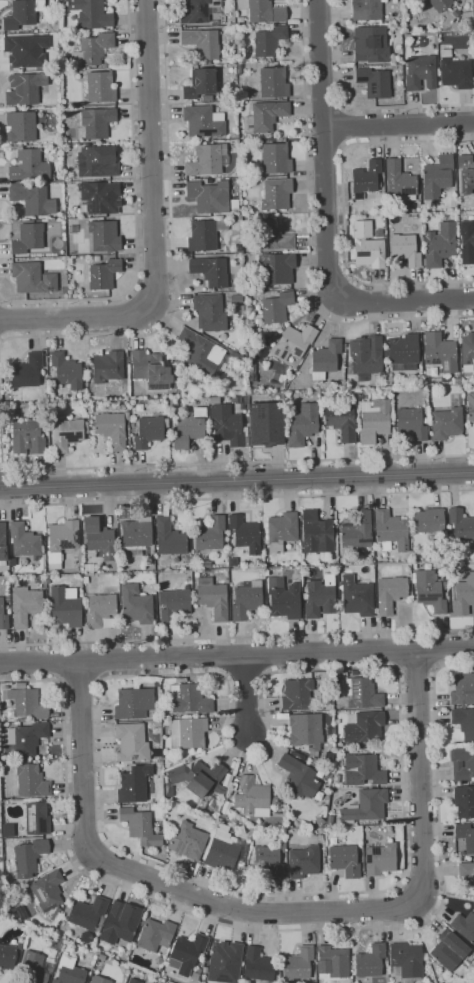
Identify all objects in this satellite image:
building: (441, 4)
building: (473, 6)
building: (196, 10)
building: (263, 10)
building: (367, 10)
building: (23, 13)
building: (91, 13)
building: (456, 13)
building: (240, 20)
building: (269, 40)
building: (203, 42)
building: (371, 44)
building: (92, 49)
building: (27, 50)
building: (455, 71)
building: (421, 73)
building: (200, 82)
building: (274, 82)
building: (374, 82)
building: (101, 86)
building: (25, 88)
building: (207, 98)
building: (234, 105)
road: (324, 108)
road: (355, 108)
building: (268, 114)
building: (97, 121)
building: (204, 121)
road: (398, 124)
building: (21, 126)
road: (344, 127)
road: (324, 149)
road: (325, 154)
road: (151, 157)
building: (276, 158)
building: (206, 160)
building: (97, 162)
building: (29, 166)
building: (466, 174)
building: (437, 177)
building: (366, 178)
building: (400, 181)
building: (276, 194)
building: (210, 196)
building: (99, 198)
building: (33, 199)
building: (419, 202)
building: (423, 208)
road: (344, 209)
road: (135, 212)
building: (205, 234)
building: (105, 235)
road: (309, 235)
building: (272, 236)
building: (28, 237)
building: (467, 242)
building: (367, 245)
building: (440, 245)
building: (405, 248)
road: (171, 250)
building: (276, 268)
building: (211, 271)
building: (104, 274)
building: (33, 278)
building: (63, 288)
building: (237, 299)
road: (406, 301)
building: (277, 307)
building: (241, 308)
building: (211, 313)
road: (70, 319)
road: (0, 320)
road: (1, 341)
building: (294, 342)
building: (403, 349)
building: (201, 350)
building: (440, 352)
building: (468, 352)
building: (235, 356)
building: (366, 356)
building: (325, 359)
building: (108, 367)
building: (152, 369)
building: (66, 370)
building: (28, 371)
building: (252, 377)
building: (457, 380)
building: (214, 399)
building: (471, 405)
building: (467, 410)
building: (127, 417)
building: (410, 419)
building: (342, 421)
building: (375, 421)
building: (265, 423)
building: (447, 423)
building: (303, 424)
building: (229, 426)
building: (86, 427)
building: (189, 428)
building: (112, 429)
building: (150, 431)
building: (67, 434)
building: (27, 437)
road: (191, 462)
road: (2, 468)
road: (236, 480)
road: (5, 487)
road: (237, 499)
building: (428, 520)
building: (462, 526)
building: (390, 530)
building: (282, 531)
building: (245, 533)
building: (210, 534)
building: (317, 534)
building: (356, 535)
building: (136, 536)
building: (99, 537)
building: (169, 537)
building: (24, 540)
building: (61, 541)
building: (46, 543)
building: (3, 545)
building: (89, 567)
building: (123, 568)
building: (298, 570)
building: (445, 578)
building: (37, 580)
building: (86, 580)
building: (44, 581)
building: (445, 585)
building: (430, 591)
building: (391, 593)
building: (464, 595)
building: (358, 596)
building: (213, 597)
building: (321, 597)
building: (448, 597)
building: (8, 598)
building: (284, 598)
building: (247, 600)
building: (174, 603)
building: (136, 604)
building: (25, 605)
building: (65, 608)
building: (99, 608)
building: (3, 616)
road: (237, 637)
road: (237, 655)
building: (471, 668)
road: (417, 669)
road: (80, 681)
building: (21, 685)
building: (463, 689)
building: (361, 692)
road: (246, 694)
building: (297, 694)
building: (190, 698)
building: (28, 703)
building: (134, 703)
building: (23, 719)
building: (464, 721)
building: (157, 723)
building: (365, 727)
building: (158, 729)
building: (306, 731)
building: (188, 732)
building: (27, 738)
building: (132, 742)
building: (315, 761)
building: (469, 764)
building: (363, 770)
building: (300, 776)
building: (198, 777)
building: (32, 781)
road: (403, 782)
building: (134, 784)
building: (169, 791)
building: (253, 797)
building: (275, 800)
building: (464, 801)
building: (213, 803)
building: (201, 804)
building: (367, 805)
building: (37, 818)
building: (330, 819)
building: (320, 821)
building: (140, 826)
building: (466, 836)
building: (189, 841)
building: (283, 848)
building: (222, 852)
building: (29, 857)
building: (284, 859)
building: (380, 859)
building: (345, 860)
building: (270, 861)
building: (305, 861)
building: (466, 871)
building: (48, 890)
building: (86, 912)
road: (279, 913)
building: (56, 914)
building: (118, 925)
building: (464, 926)
road: (271, 930)
building: (156, 934)
building: (86, 936)
building: (54, 942)
building: (449, 949)
building: (187, 950)
building: (7, 956)
building: (88, 957)
building: (225, 959)
building: (333, 961)
building: (371, 961)
building: (407, 961)
building: (300, 963)
building: (385, 963)
building: (259, 965)
building: (34, 967)
building: (205, 969)
building: (70, 970)
building: (99, 979)
building: (135, 981)
building: (86, 982)

